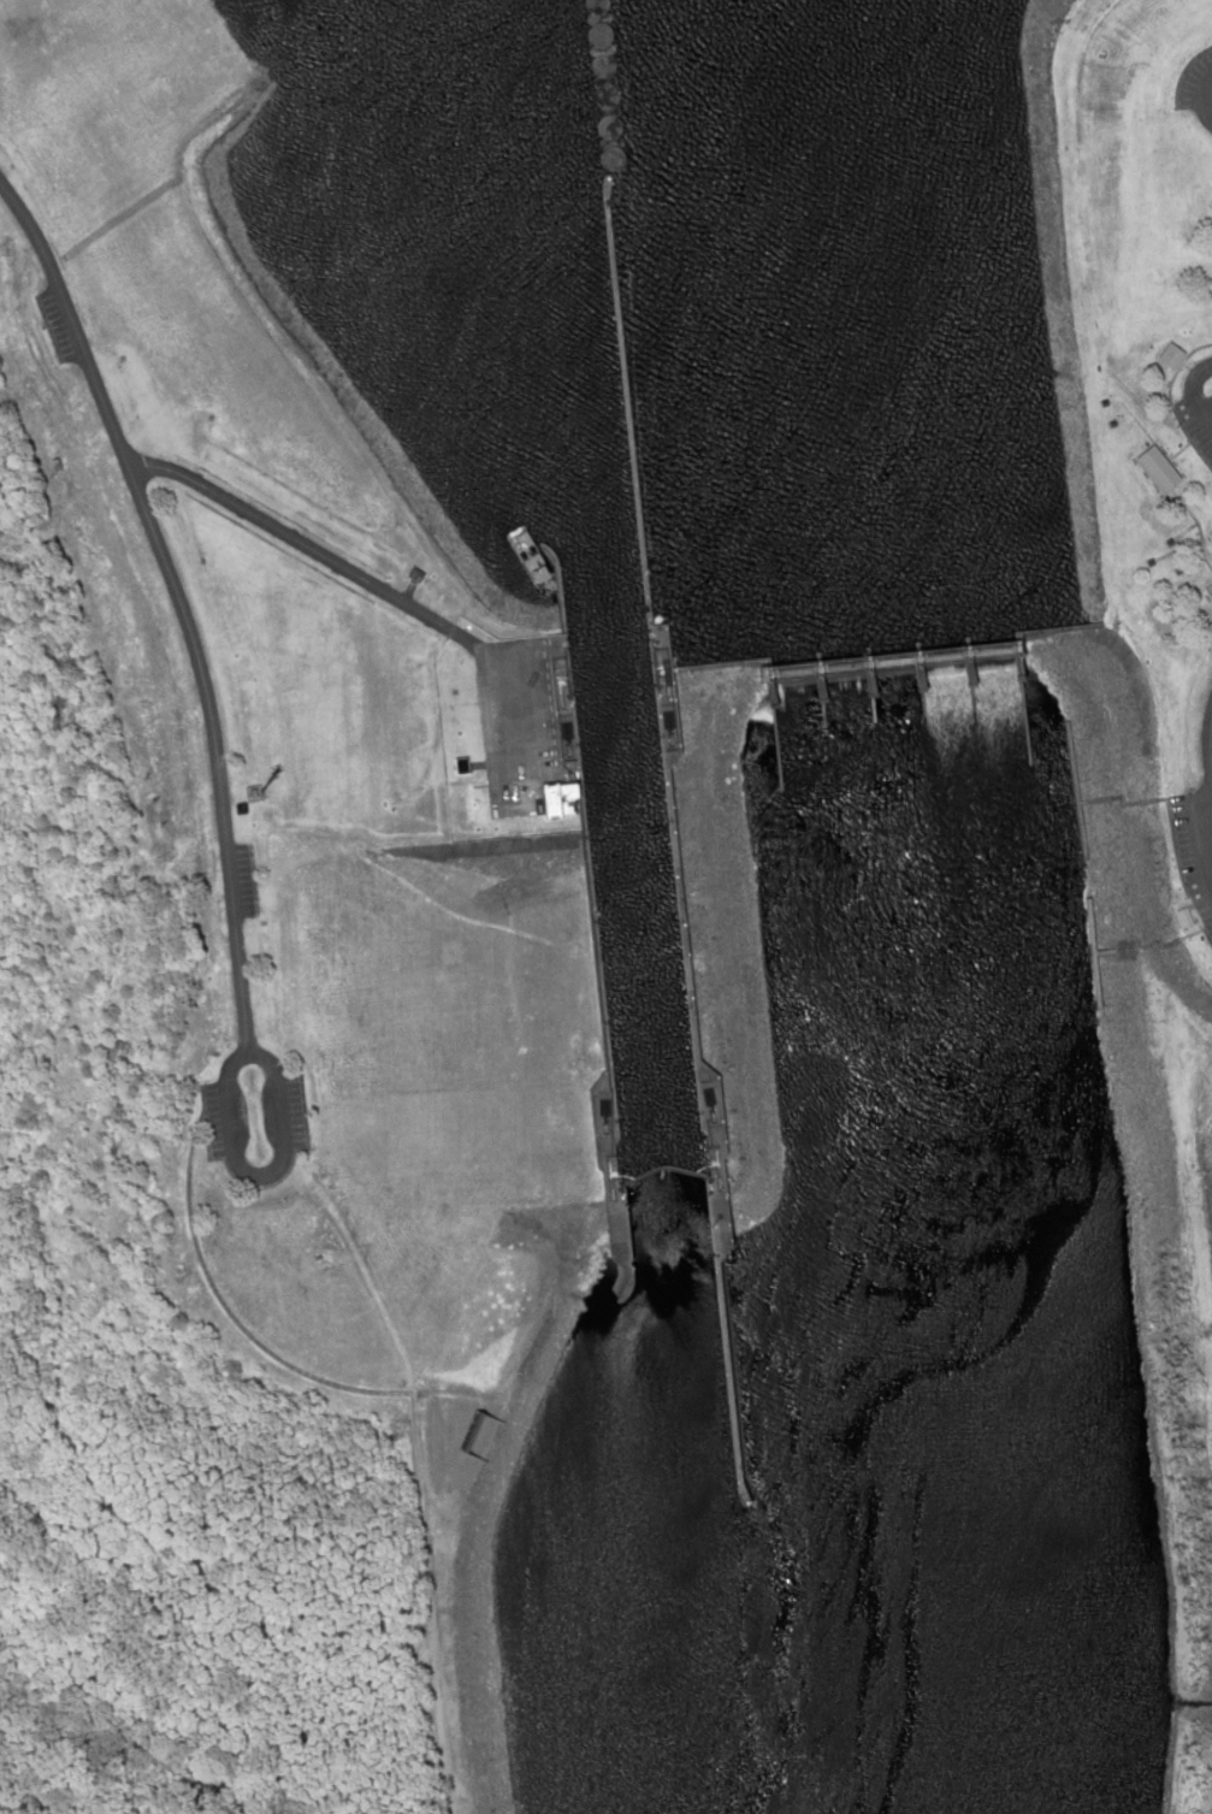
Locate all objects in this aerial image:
river: (465, 102)
building: (1170, 356)
park: (1147, 373)
road: (1188, 397)
parking lot: (1196, 421)
building: (1155, 468)
road: (305, 544)
road: (173, 601)
road: (1210, 731)
road: (1207, 741)
building: (461, 763)
building: (562, 796)
road: (1204, 857)
road: (277, 1162)

